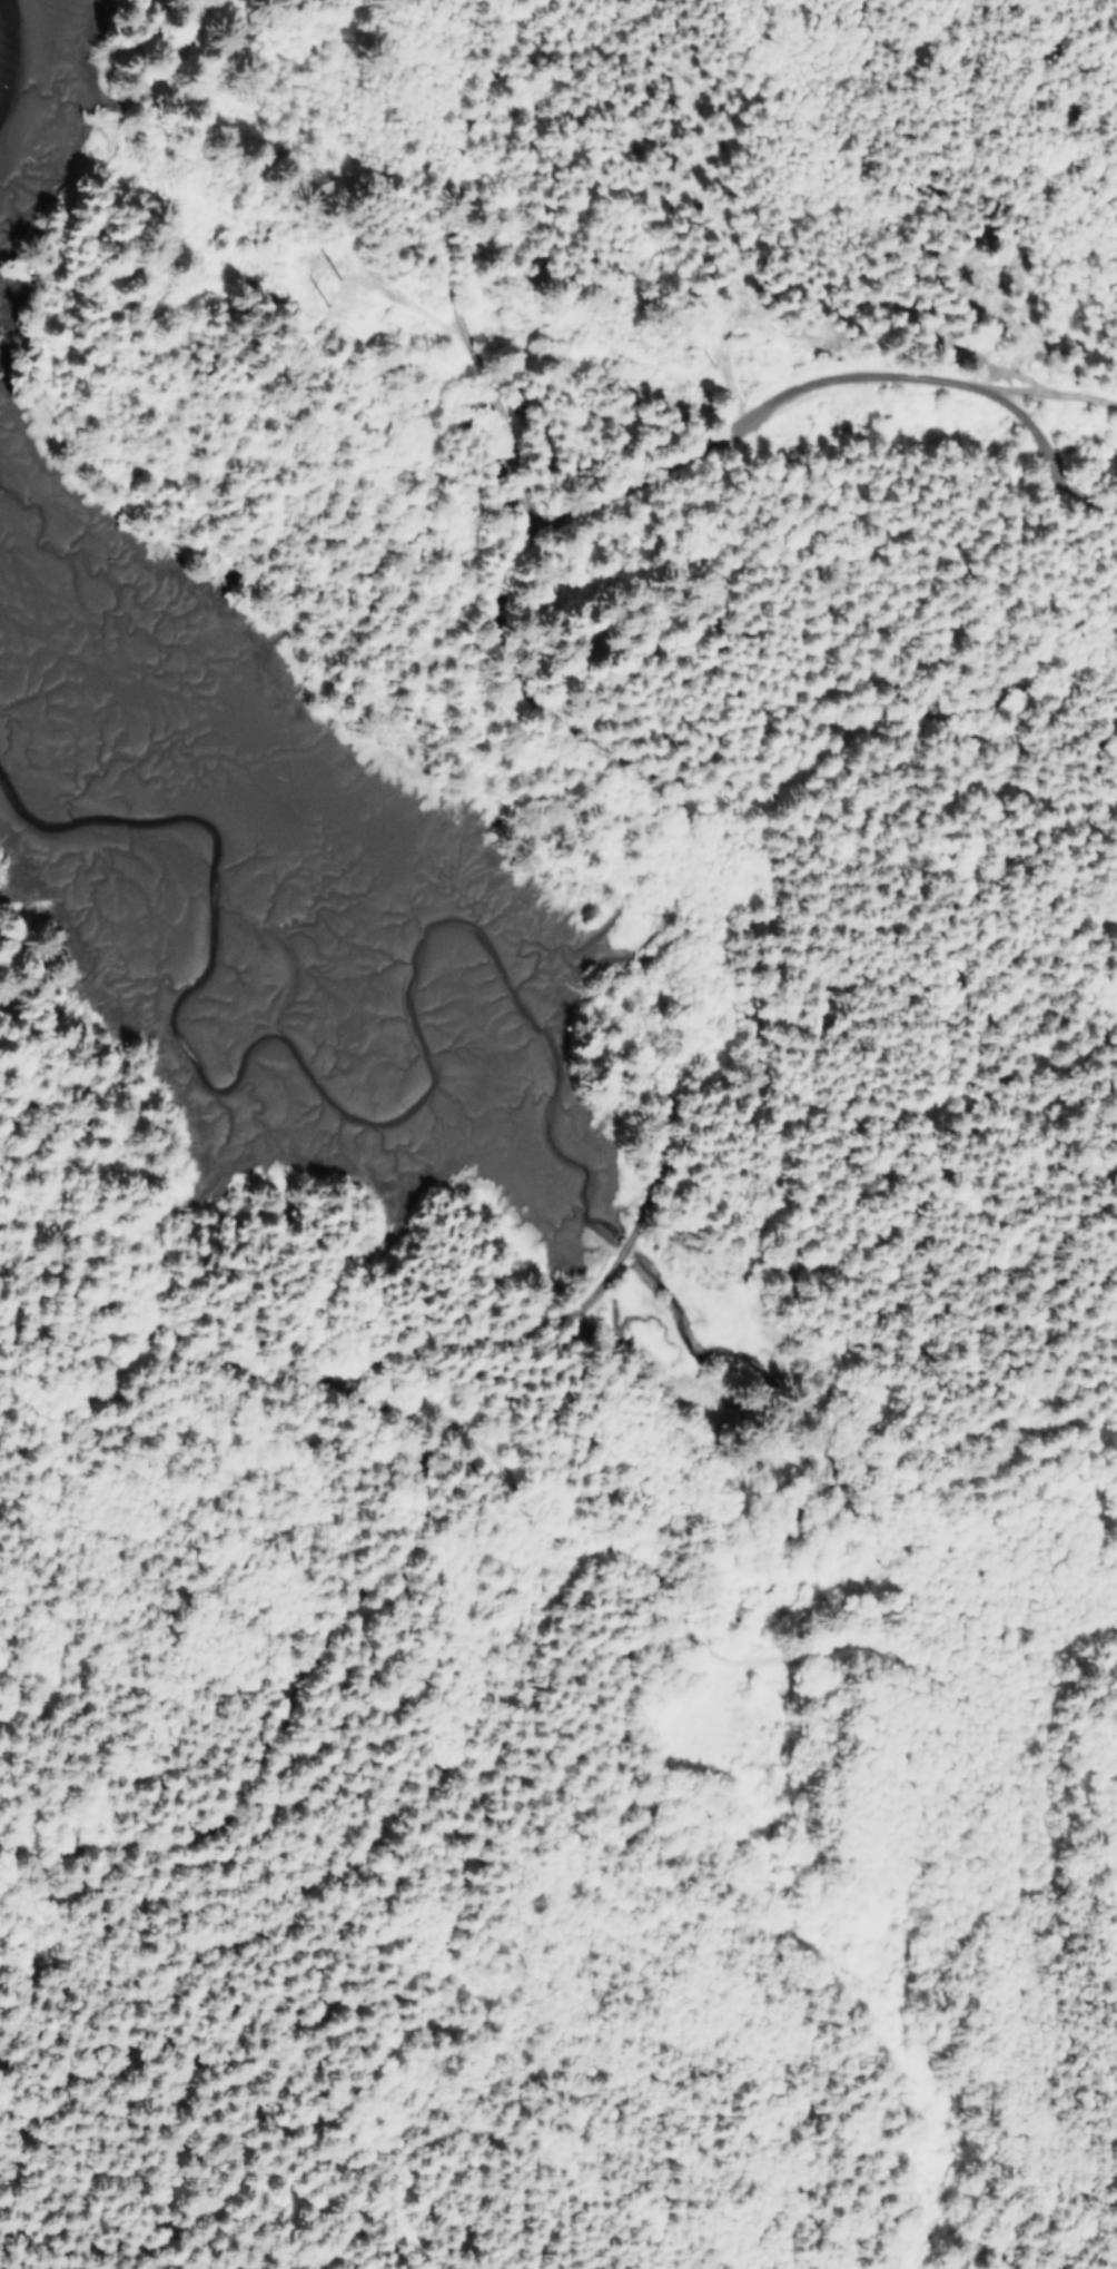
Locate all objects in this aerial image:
road: (449, 268)
power tower: (328, 283)
power tower: (711, 356)
road: (711, 920)
road: (910, 1146)
road: (688, 1630)
road: (290, 1688)
road: (481, 1995)

